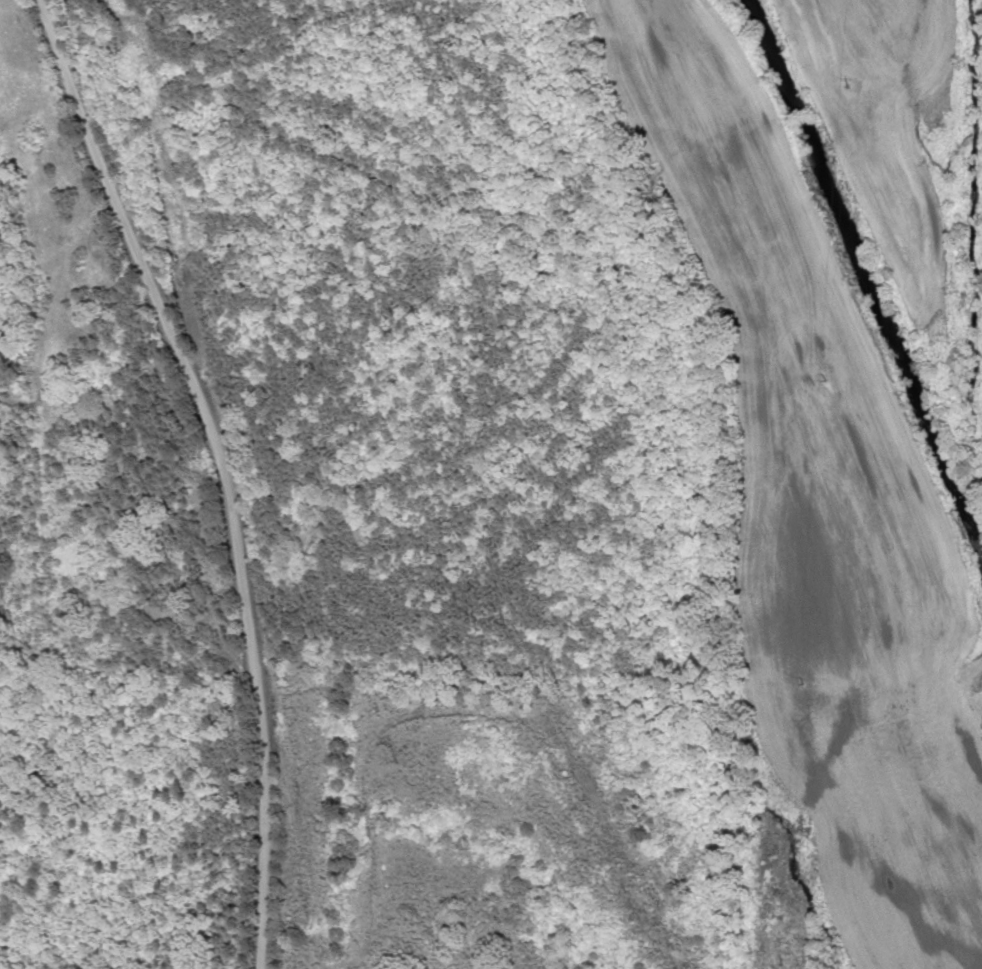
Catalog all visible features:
building: (128, 102)
road: (226, 469)

